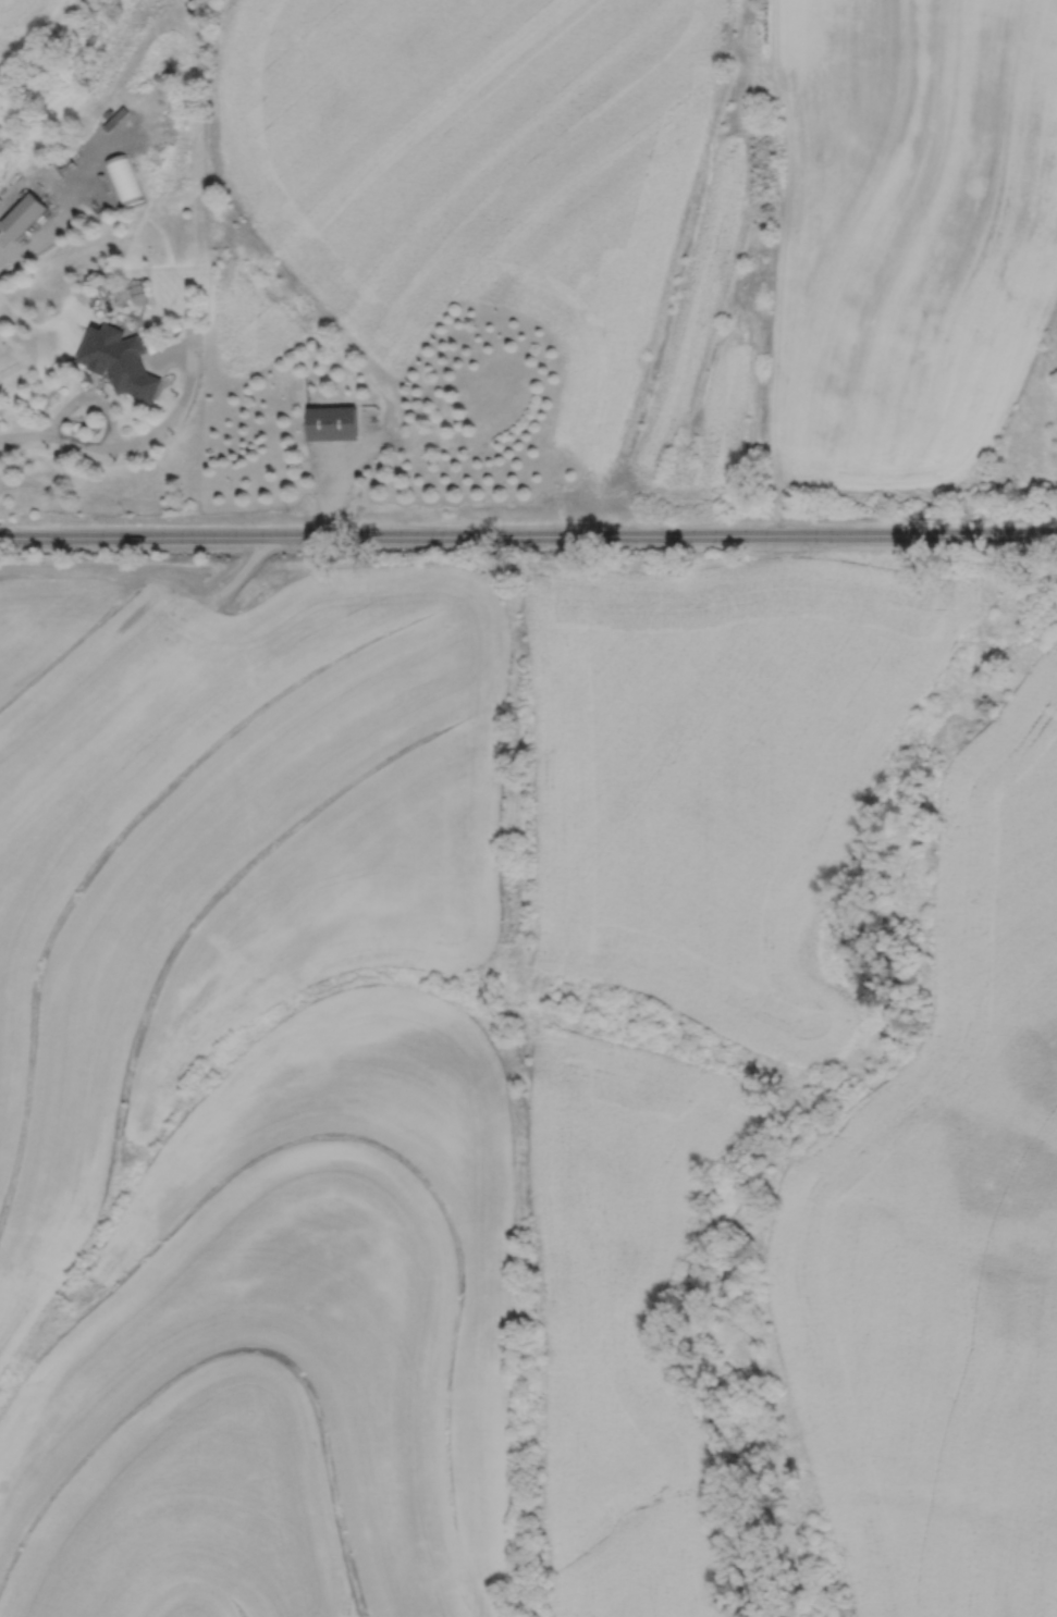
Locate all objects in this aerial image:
crop: (23, 21)
crop: (477, 165)
building: (21, 214)
crop: (906, 235)
building: (120, 361)
road: (176, 403)
road: (109, 417)
building: (332, 423)
road: (22, 433)
park: (1025, 440)
road: (528, 534)
road: (236, 571)
crop: (720, 773)
crop: (251, 1099)
crop: (944, 1225)
crop: (620, 1320)

